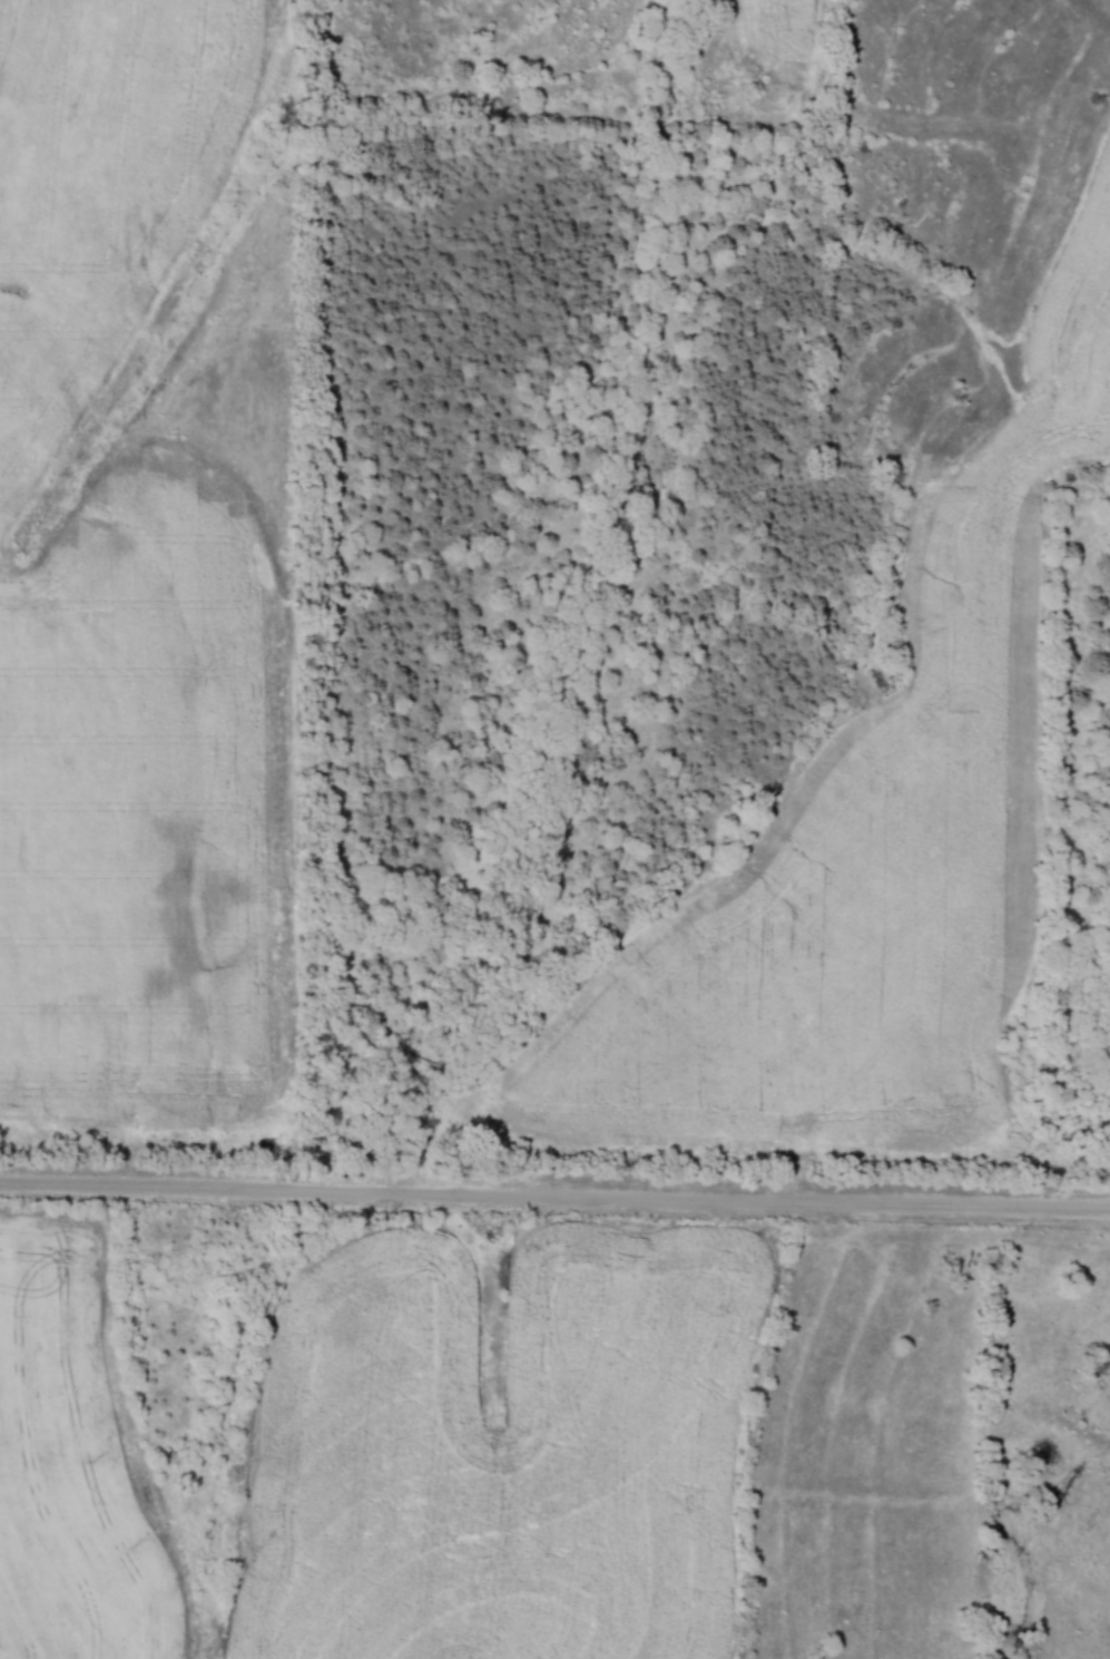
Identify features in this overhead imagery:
road: (554, 1202)

